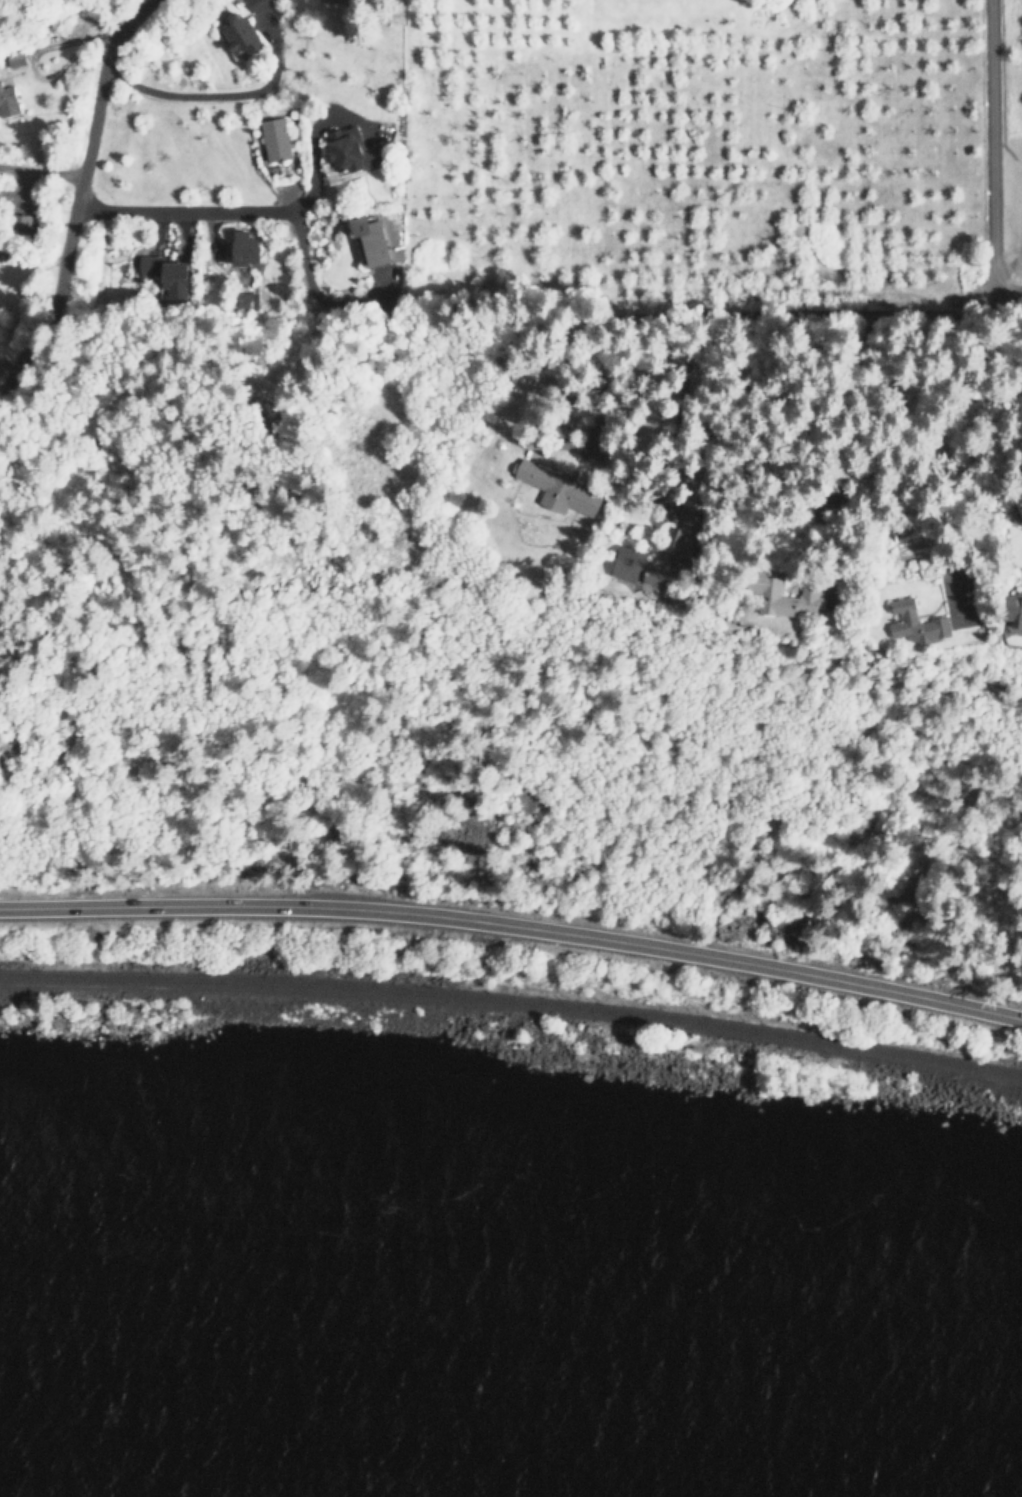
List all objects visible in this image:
road: (207, 95)
road: (75, 194)
road: (245, 211)
road: (887, 312)
road: (1021, 356)
road: (747, 461)
road: (514, 930)
railway: (513, 1002)

